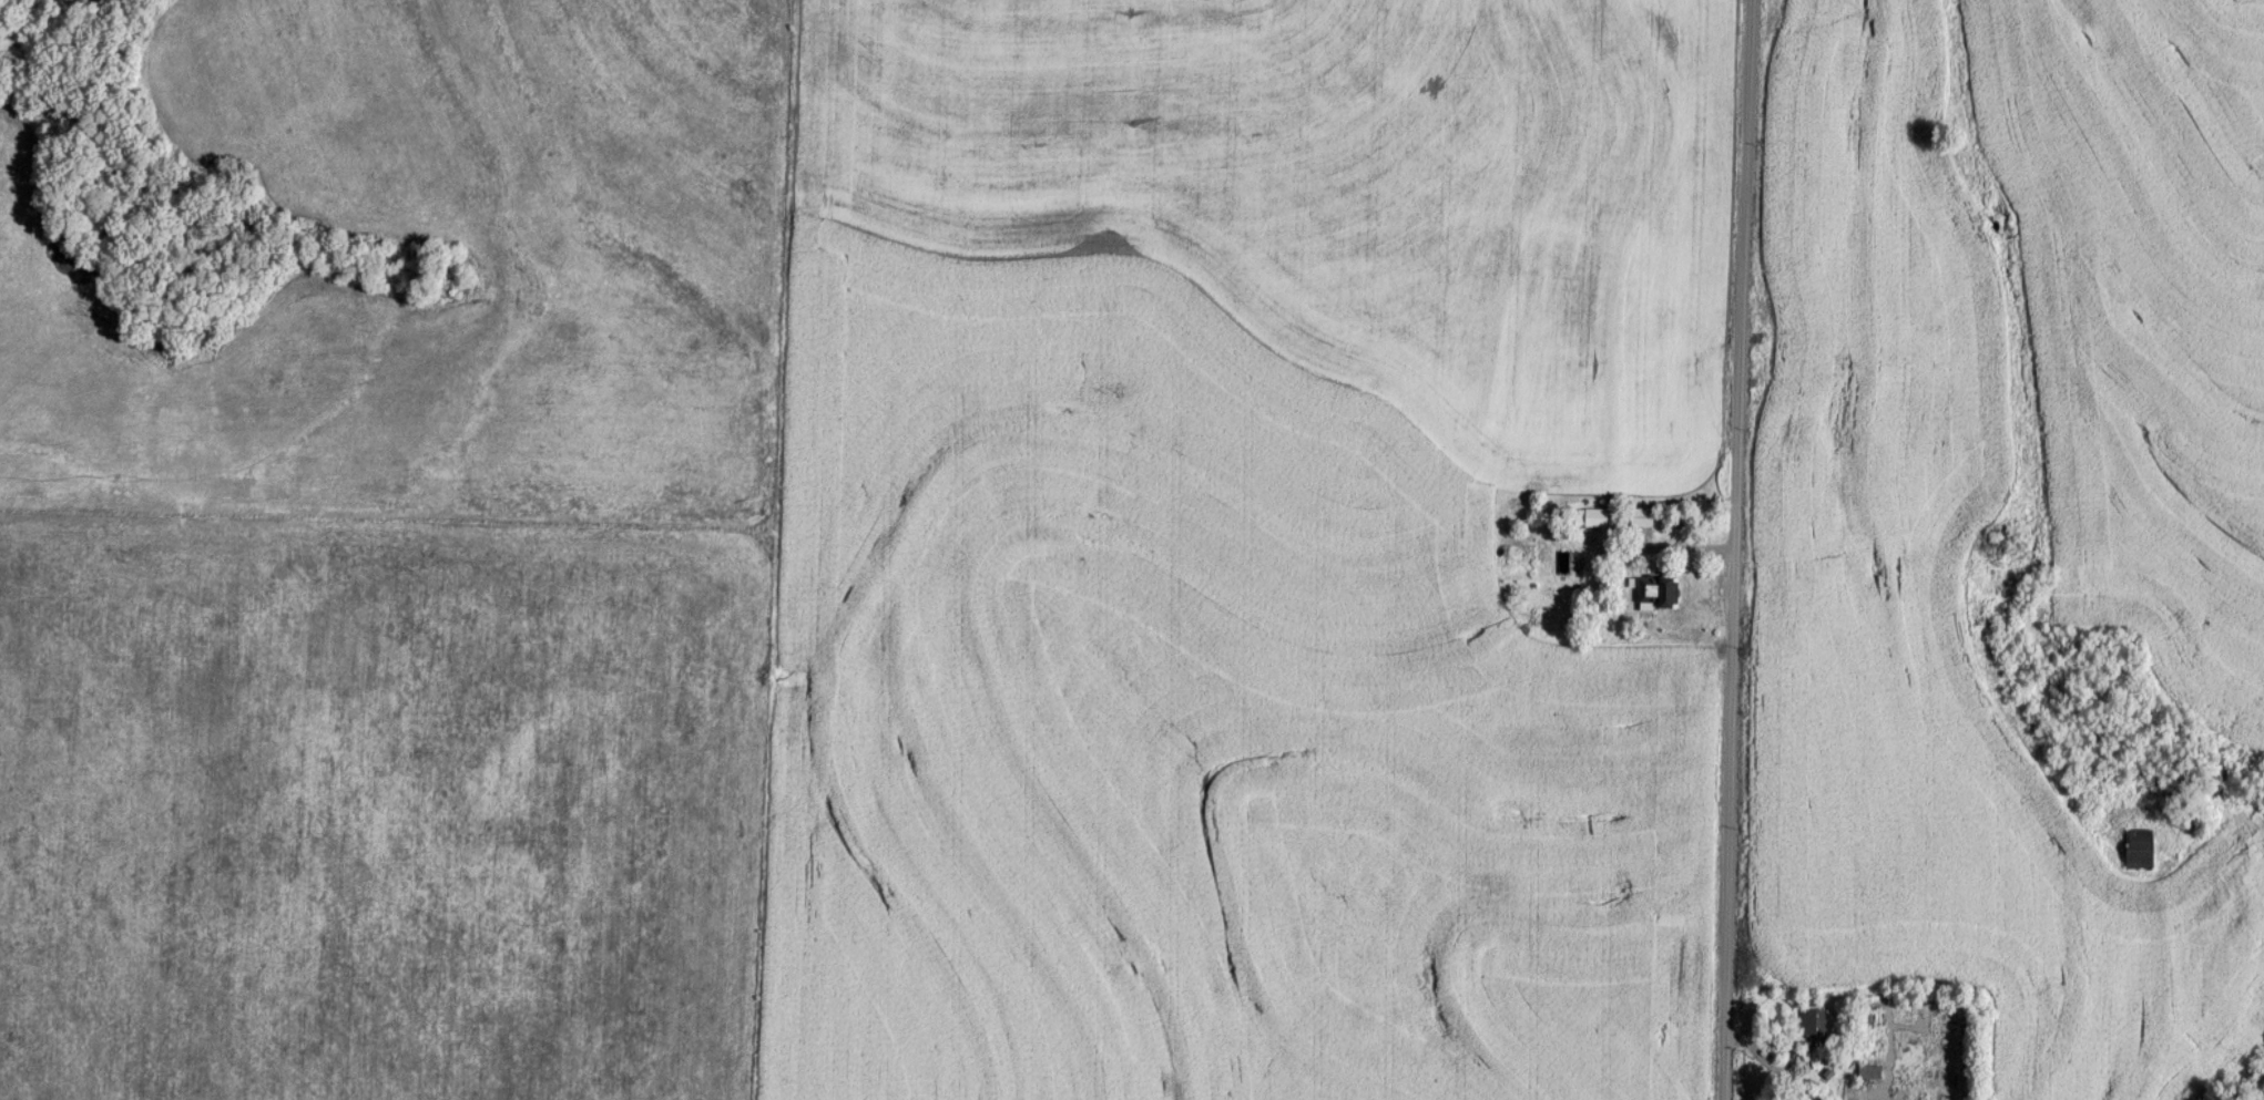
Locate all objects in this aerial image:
building: (1598, 516)
building: (1643, 516)
road: (1735, 549)
building: (1659, 590)
building: (2144, 847)
building: (1815, 1025)
road: (1796, 1077)

